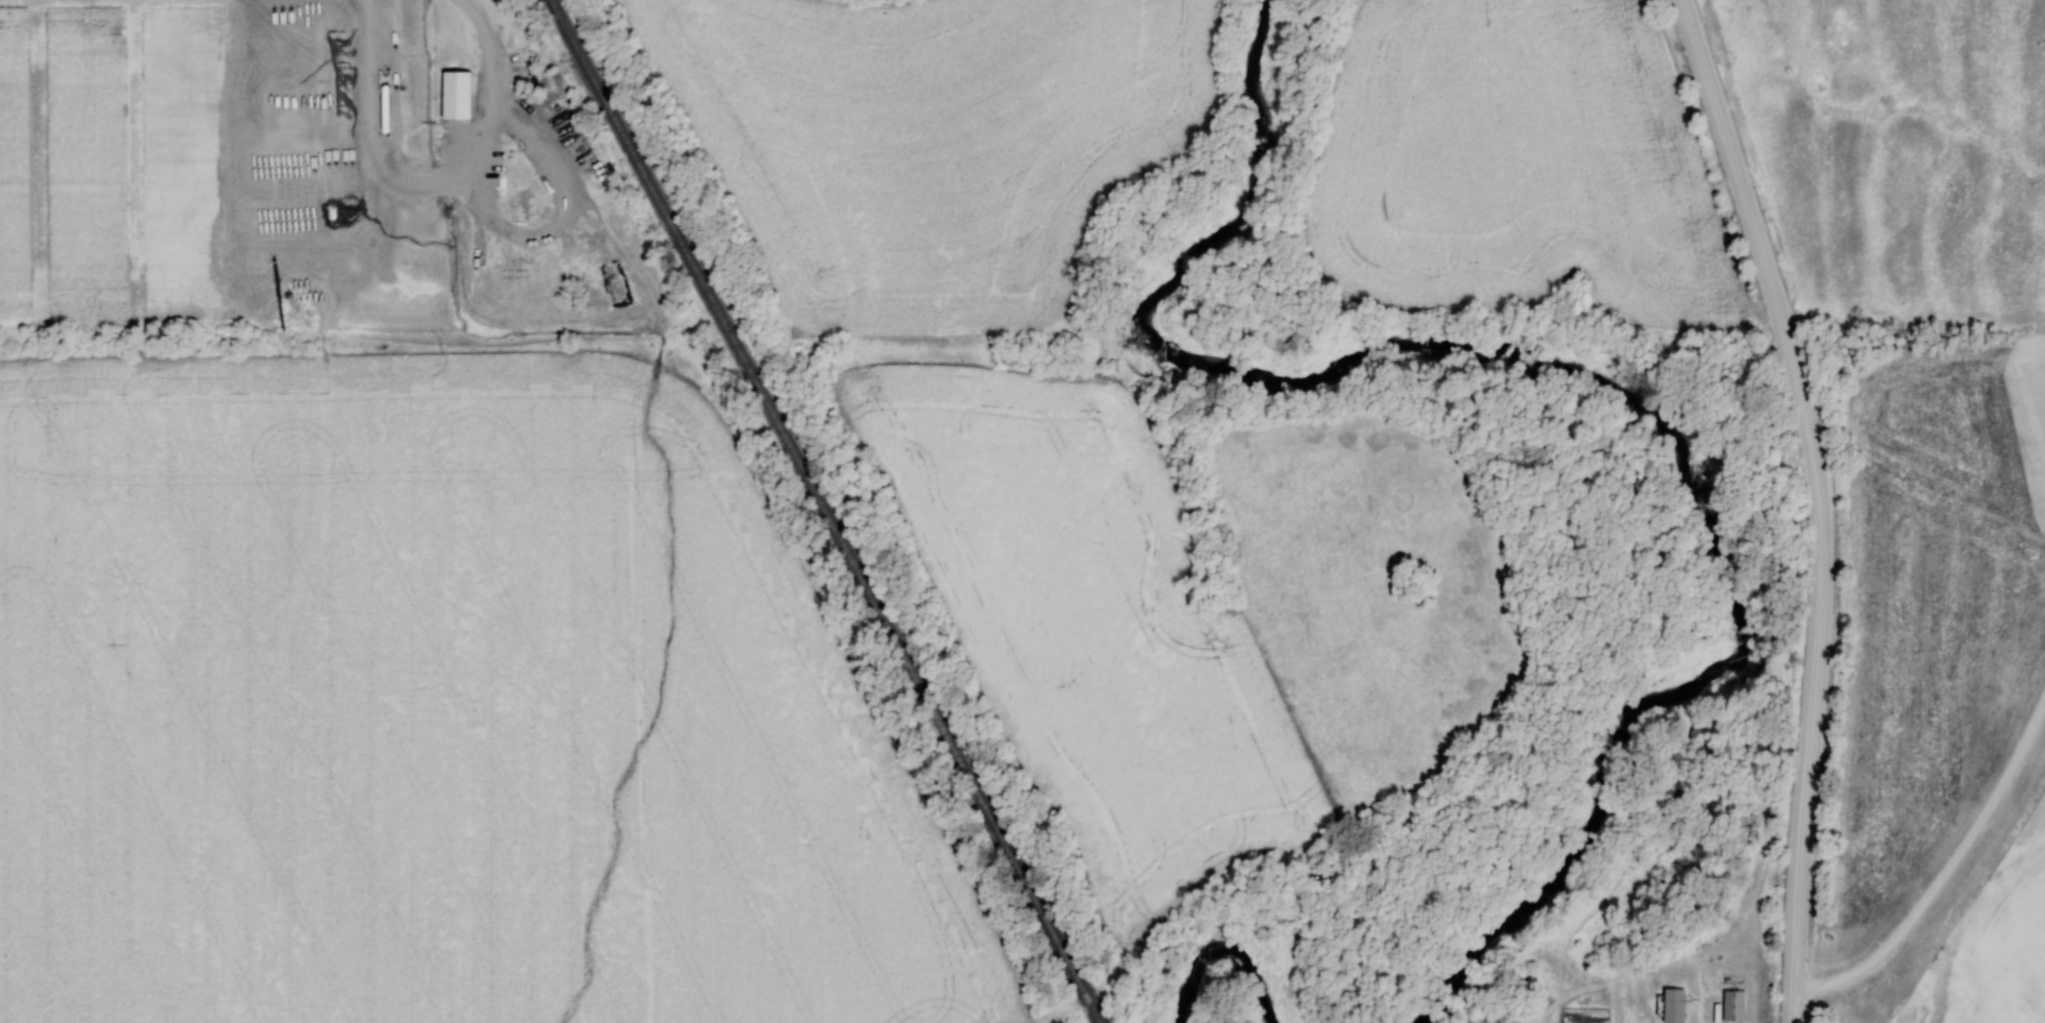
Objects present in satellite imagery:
building: (520, 58)
building: (530, 79)
building: (457, 97)
road: (430, 187)
building: (524, 194)
river: (1588, 381)
road: (1819, 502)
railway: (824, 511)
road: (1944, 876)
river: (1229, 946)
building: (1675, 1005)
building: (1734, 1006)

